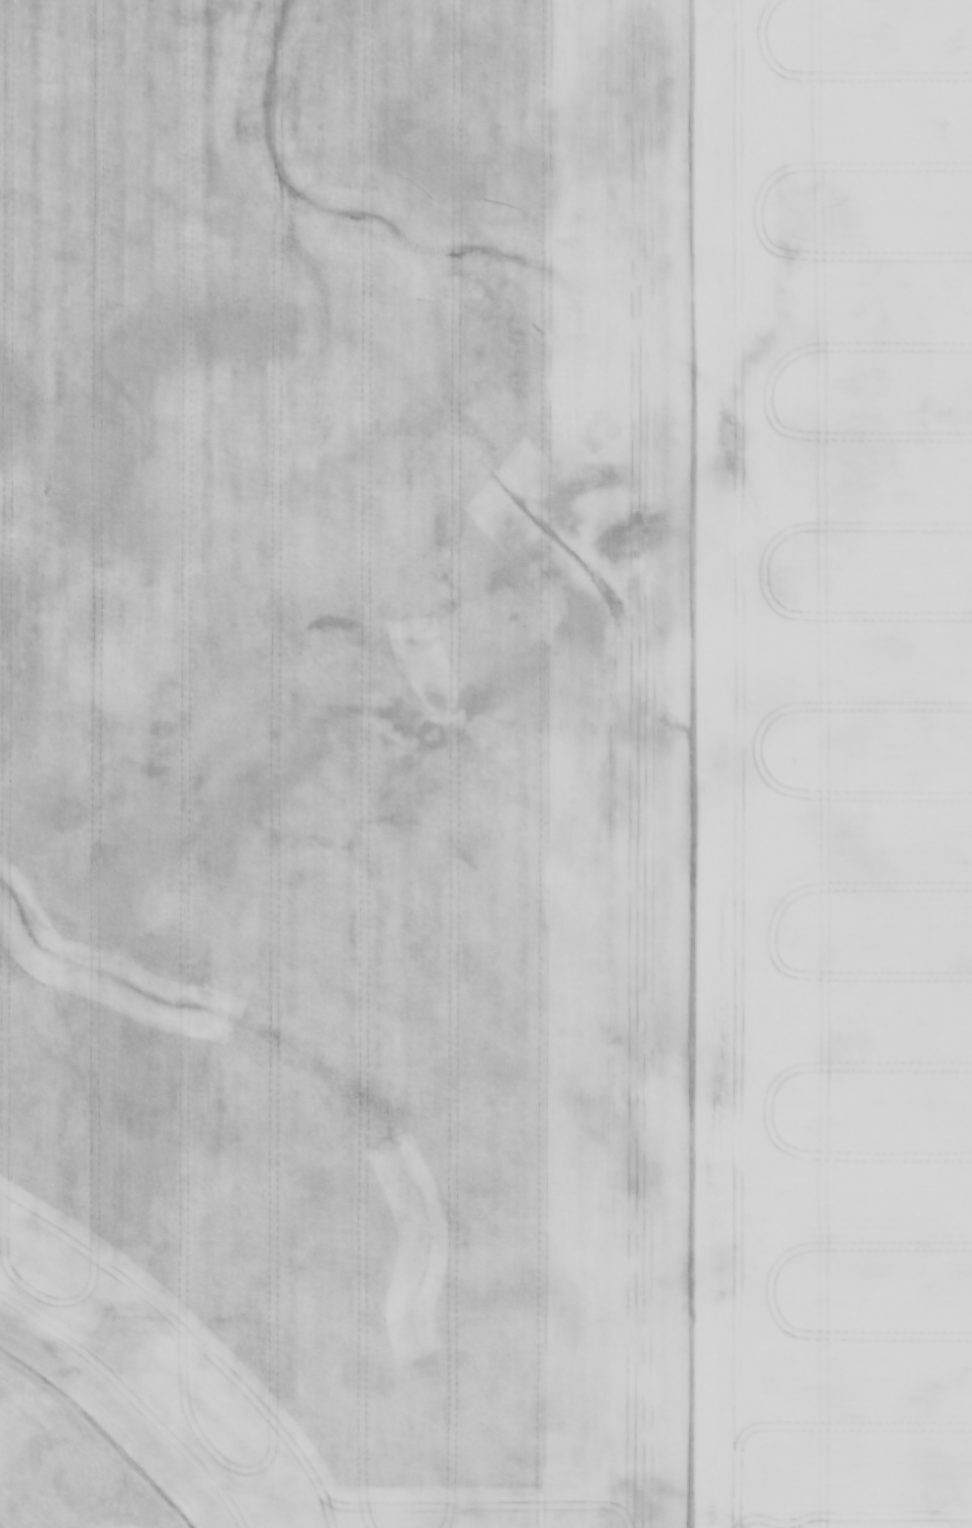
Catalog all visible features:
road: (698, 764)

